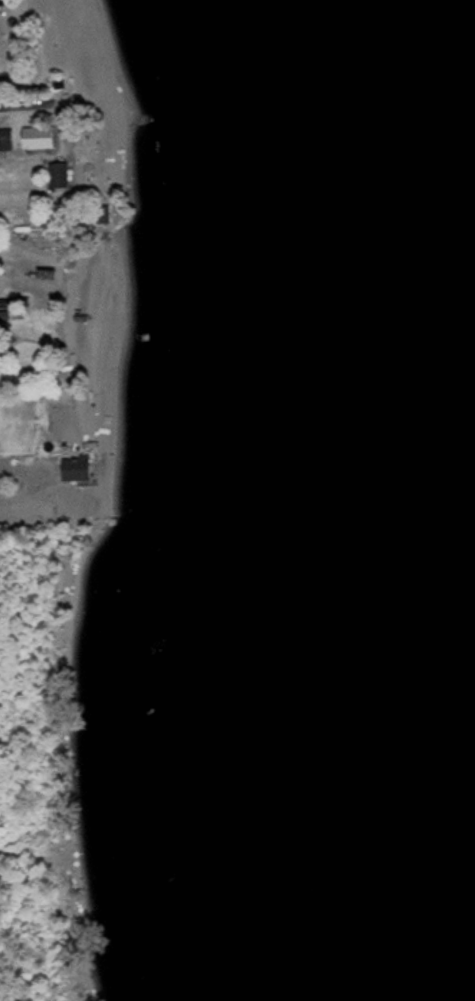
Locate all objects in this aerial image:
building: (3, 3)
building: (7, 85)
road: (33, 104)
building: (36, 139)
building: (9, 141)
building: (65, 176)
building: (0, 425)
building: (83, 470)
road: (37, 513)
park: (79, 762)

